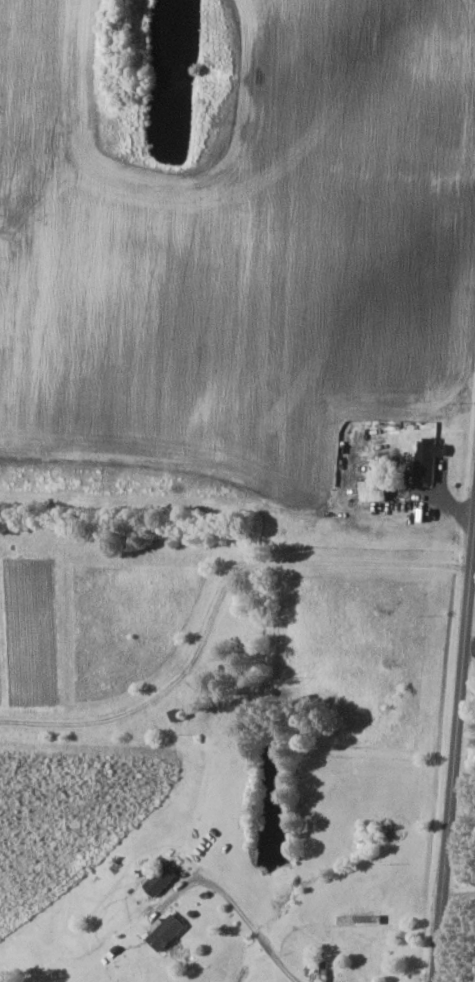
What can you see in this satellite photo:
building: (430, 467)
building: (378, 489)
road: (219, 599)
road: (458, 788)
building: (163, 879)
road: (461, 894)
road: (256, 926)
building: (168, 931)

